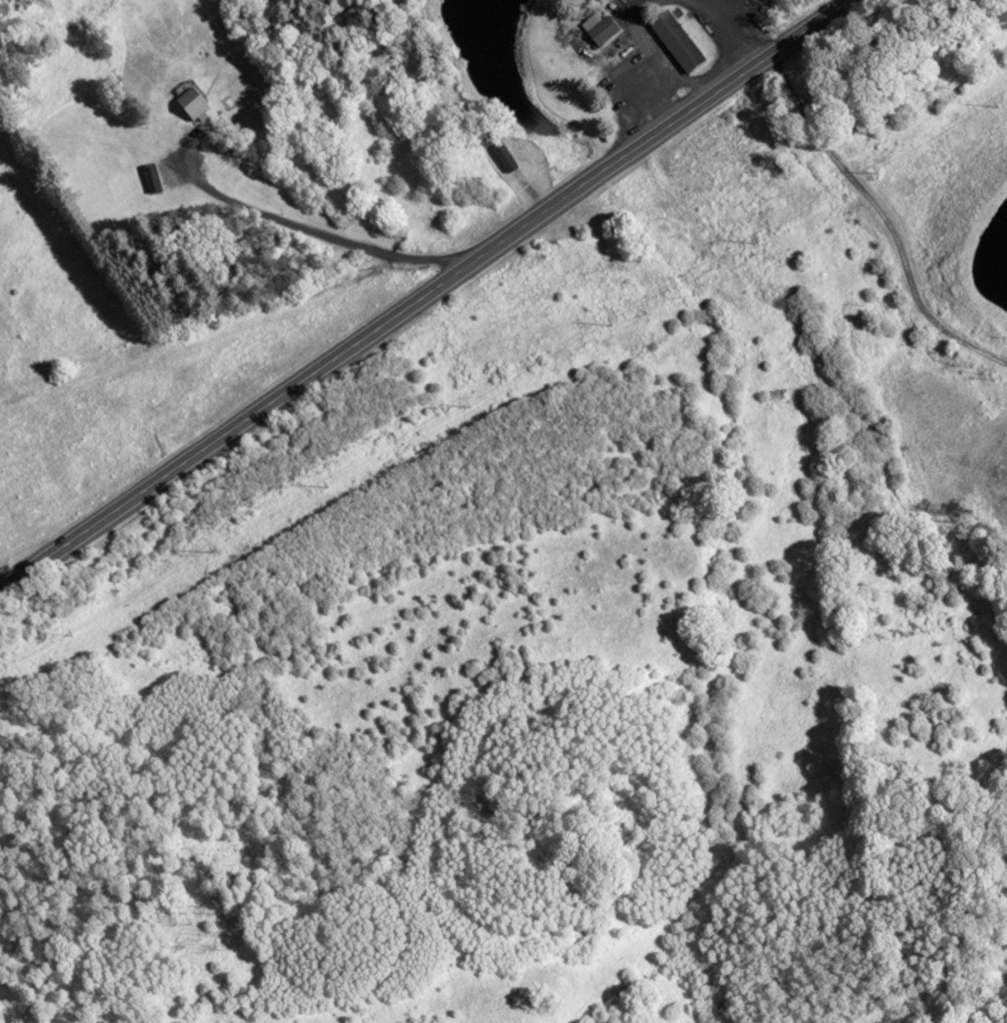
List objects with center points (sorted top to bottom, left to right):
building: (599, 31)
building: (673, 41)
building: (188, 105)
building: (501, 154)
building: (150, 177)
road: (883, 216)
road: (311, 227)
road: (422, 294)

